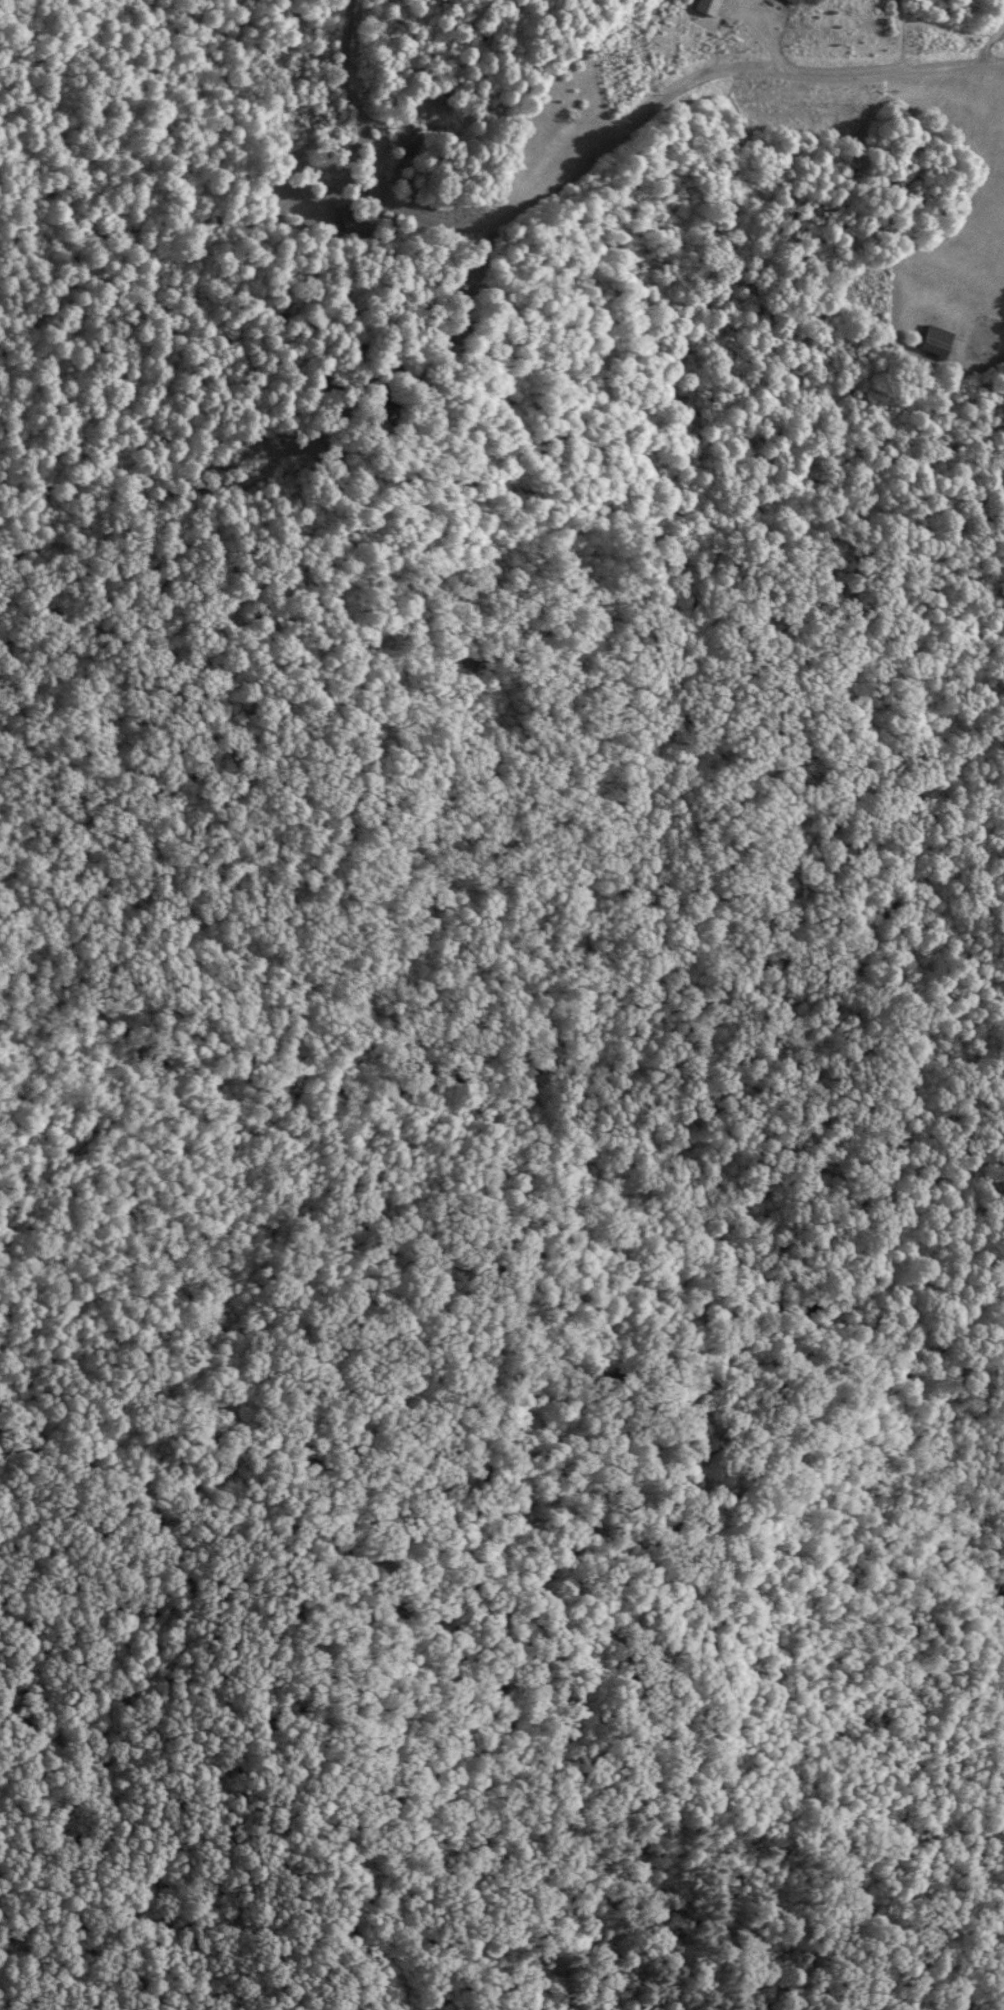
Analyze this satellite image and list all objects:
building: (701, 7)
road: (589, 144)
road: (997, 329)
building: (931, 341)

